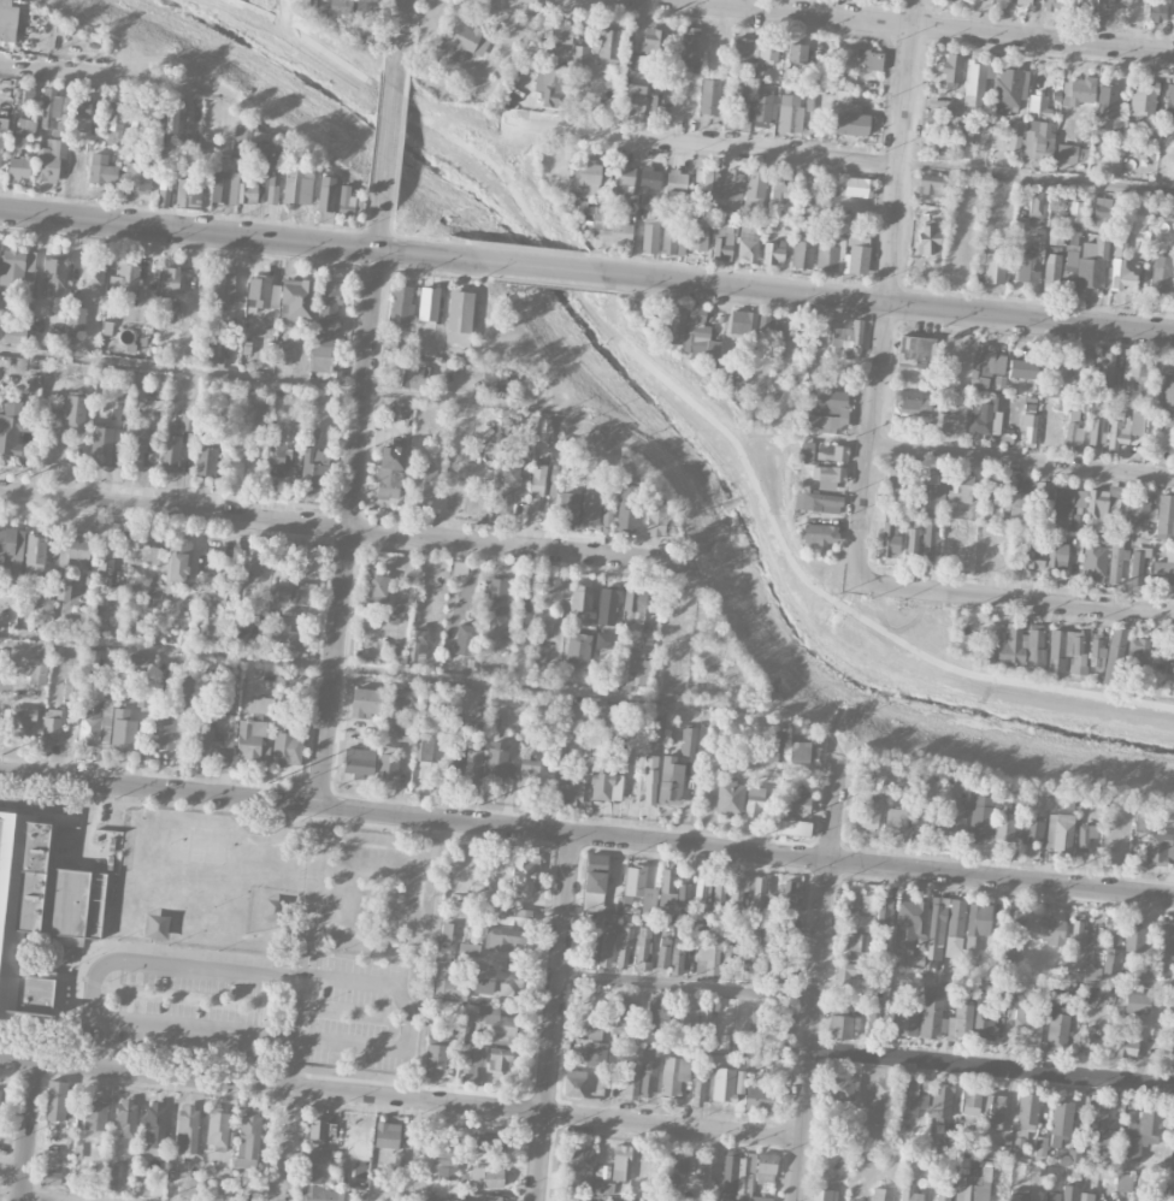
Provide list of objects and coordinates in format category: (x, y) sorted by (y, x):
building: (881, 0)
building: (985, 0)
building: (1025, 1)
building: (1052, 4)
building: (1078, 7)
building: (340, 8)
building: (1104, 8)
building: (1156, 10)
building: (365, 11)
building: (1173, 12)
building: (7, 19)
building: (525, 22)
road: (919, 29)
building: (561, 32)
road: (400, 34)
building: (651, 40)
building: (464, 42)
building: (607, 43)
building: (690, 43)
building: (742, 51)
building: (767, 51)
building: (580, 54)
building: (796, 60)
building: (868, 60)
building: (525, 65)
building: (951, 70)
road: (95, 75)
building: (548, 83)
building: (975, 83)
building: (661, 87)
building: (1008, 88)
building: (1080, 90)
building: (28, 96)
building: (709, 96)
building: (739, 97)
building: (1143, 97)
building: (633, 99)
building: (1169, 100)
building: (1107, 101)
building: (54, 103)
building: (1037, 103)
building: (661, 105)
building: (763, 110)
building: (790, 113)
building: (82, 114)
building: (152, 116)
building: (171, 116)
building: (850, 117)
building: (948, 117)
building: (25, 124)
building: (1113, 124)
building: (4, 125)
building: (120, 125)
building: (1149, 132)
road: (389, 136)
building: (1015, 136)
building: (205, 138)
building: (250, 142)
building: (1038, 143)
building: (962, 146)
building: (0, 147)
building: (1067, 154)
building: (49, 160)
road: (842, 160)
building: (18, 167)
building: (101, 170)
building: (273, 176)
building: (624, 176)
building: (650, 177)
building: (137, 179)
building: (584, 179)
building: (704, 179)
building: (297, 184)
building: (933, 184)
building: (730, 185)
building: (676, 187)
building: (780, 187)
building: (857, 187)
building: (165, 188)
building: (755, 188)
building: (232, 189)
building: (188, 193)
building: (326, 193)
building: (348, 202)
building: (1036, 209)
building: (1104, 209)
building: (1075, 212)
building: (610, 230)
building: (697, 233)
road: (231, 235)
building: (650, 236)
building: (1140, 236)
building: (672, 238)
building: (724, 239)
building: (748, 239)
building: (928, 239)
building: (802, 249)
building: (773, 253)
building: (842, 255)
building: (1092, 264)
building: (13, 265)
road: (530, 266)
building: (1027, 267)
building: (995, 268)
building: (1052, 268)
building: (1122, 268)
building: (1069, 270)
building: (93, 272)
building: (1161, 273)
building: (53, 277)
building: (169, 282)
building: (124, 283)
building: (223, 288)
building: (259, 291)
road: (886, 291)
building: (146, 296)
building: (296, 298)
road: (885, 306)
building: (329, 307)
building: (402, 307)
building: (427, 307)
building: (176, 308)
building: (149, 314)
building: (76, 316)
building: (459, 318)
building: (674, 324)
building: (747, 329)
building: (696, 330)
building: (802, 332)
building: (779, 338)
building: (845, 342)
building: (712, 347)
building: (390, 348)
building: (213, 351)
building: (406, 351)
building: (916, 351)
building: (284, 353)
building: (323, 357)
building: (1082, 362)
building: (985, 365)
building: (1021, 368)
building: (1055, 368)
building: (414, 372)
building: (1102, 372)
building: (796, 373)
building: (1135, 373)
road: (289, 380)
building: (494, 380)
building: (34, 386)
building: (1168, 396)
road: (684, 400)
building: (825, 400)
building: (912, 401)
building: (73, 410)
building: (987, 416)
building: (943, 420)
building: (826, 421)
building: (506, 426)
building: (1027, 427)
building: (1125, 427)
building: (12, 428)
building: (1073, 428)
building: (1097, 433)
building: (173, 440)
building: (105, 445)
building: (134, 446)
building: (822, 451)
building: (276, 452)
building: (205, 458)
road: (1022, 462)
building: (314, 466)
building: (389, 471)
building: (828, 477)
building: (893, 478)
building: (511, 485)
building: (423, 486)
building: (536, 489)
building: (961, 489)
building: (989, 490)
building: (928, 491)
building: (816, 502)
building: (591, 503)
building: (1066, 504)
road: (352, 505)
building: (1101, 505)
building: (568, 509)
building: (626, 509)
building: (1135, 510)
building: (1164, 516)
building: (606, 519)
building: (655, 519)
building: (1076, 519)
road: (346, 523)
building: (819, 533)
building: (1022, 534)
building: (890, 537)
building: (928, 538)
building: (912, 543)
building: (75, 546)
building: (1057, 552)
building: (144, 554)
building: (35, 555)
building: (1032, 556)
building: (1116, 560)
building: (249, 561)
building: (312, 561)
building: (1095, 561)
building: (105, 563)
building: (1137, 564)
building: (181, 566)
building: (1163, 570)
building: (377, 584)
building: (527, 588)
building: (63, 591)
building: (277, 592)
building: (305, 592)
building: (498, 596)
building: (153, 597)
building: (220, 598)
building: (582, 598)
building: (633, 598)
road: (1015, 599)
building: (523, 603)
building: (607, 607)
building: (135, 626)
building: (213, 631)
building: (288, 633)
building: (240, 638)
building: (465, 639)
building: (604, 640)
building: (417, 646)
building: (1020, 647)
building: (1058, 649)
building: (396, 651)
building: (578, 651)
building: (1096, 651)
building: (1137, 651)
building: (1114, 653)
building: (1076, 656)
building: (987, 657)
building: (1158, 657)
building: (1170, 657)
building: (134, 662)
building: (638, 668)
road: (389, 672)
building: (35, 673)
building: (71, 687)
building: (182, 693)
building: (401, 698)
building: (142, 702)
building: (365, 702)
building: (260, 706)
building: (604, 714)
building: (484, 718)
building: (90, 720)
building: (19, 722)
building: (52, 726)
building: (163, 729)
building: (123, 730)
building: (620, 734)
building: (688, 740)
building: (253, 741)
building: (213, 743)
building: (424, 746)
building: (775, 747)
building: (288, 749)
building: (798, 750)
building: (500, 761)
building: (649, 761)
building: (358, 762)
building: (456, 762)
building: (387, 765)
building: (472, 765)
building: (529, 773)
building: (669, 780)
building: (604, 785)
power tower: (269, 786)
building: (568, 793)
building: (730, 798)
building: (754, 801)
power tower: (478, 807)
building: (869, 814)
building: (925, 814)
building: (794, 815)
building: (951, 816)
building: (980, 816)
building: (895, 818)
building: (1004, 827)
building: (1032, 830)
building: (1060, 832)
road: (586, 833)
building: (1087, 836)
power tower: (779, 839)
building: (1154, 839)
building: (596, 860)
power tower: (1069, 870)
building: (524, 875)
building: (667, 887)
building: (639, 888)
building: (594, 891)
building: (700, 891)
building: (738, 891)
building: (719, 892)
building: (790, 893)
building: (683, 895)
building: (756, 900)
building: (37, 907)
building: (884, 910)
building: (867, 911)
building: (512, 916)
building: (978, 919)
building: (937, 921)
building: (1013, 921)
building: (909, 923)
building: (955, 923)
building: (789, 924)
building: (1051, 930)
building: (1078, 931)
building: (506, 939)
building: (1134, 939)
building: (590, 940)
building: (855, 942)
building: (625, 943)
building: (768, 943)
building: (1166, 945)
building: (606, 946)
building: (1110, 947)
building: (468, 948)
building: (643, 948)
building: (662, 952)
building: (677, 956)
building: (855, 957)
building: (708, 958)
building: (731, 960)
building: (775, 970)
building: (848, 971)
building: (1092, 975)
road: (815, 977)
building: (1138, 977)
building: (496, 982)
road: (686, 987)
building: (450, 989)
building: (1074, 995)
building: (1138, 1002)
parking lot: (255, 1006)
building: (651, 1013)
building: (623, 1014)
building: (689, 1014)
road: (555, 1016)
building: (708, 1016)
building: (780, 1017)
road: (297, 1018)
building: (943, 1018)
building: (873, 1020)
building: (905, 1022)
building: (984, 1023)
building: (497, 1024)
building: (757, 1025)
building: (842, 1025)
building: (1027, 1028)
building: (1056, 1028)
road: (211, 1030)
building: (1125, 1043)
building: (595, 1047)
road: (18, 1055)
building: (436, 1055)
building: (498, 1058)
building: (466, 1063)
road: (991, 1066)
road: (164, 1071)
building: (673, 1075)
building: (631, 1081)
building: (647, 1081)
building: (573, 1083)
building: (698, 1083)
building: (722, 1084)
building: (840, 1088)
road: (355, 1090)
building: (1, 1094)
building: (881, 1094)
building: (55, 1100)
building: (759, 1100)
building: (909, 1100)
building: (942, 1100)
road: (482, 1104)
building: (973, 1104)
building: (1028, 1110)
building: (993, 1112)
building: (95, 1114)
building: (1097, 1116)
building: (123, 1118)
building: (1060, 1123)
building: (154, 1124)
road: (672, 1124)
road: (29, 1129)
building: (219, 1129)
building: (317, 1129)
building: (184, 1132)
building: (1140, 1134)
building: (54, 1135)
building: (387, 1135)
building: (248, 1137)
building: (486, 1140)
road: (285, 1142)
building: (950, 1144)
building: (1019, 1146)
building: (1040, 1148)
building: (319, 1154)
building: (1073, 1156)
building: (443, 1159)
building: (643, 1159)
building: (580, 1162)
building: (621, 1162)
building: (677, 1166)
building: (708, 1166)
building: (1031, 1171)
building: (111, 1175)
building: (312, 1175)
building: (753, 1175)
building: (727, 1176)
building: (52, 1177)
building: (491, 1177)
building: (1123, 1182)
building: (973, 1187)
building: (603, 1188)
building: (1170, 1190)
building: (908, 1193)
building: (1068, 1193)
building: (821, 1194)
building: (880, 1194)
road: (52, 1195)
building: (320, 1195)
building: (1019, 1195)
building: (942, 1196)
building: (1050, 1196)
building: (1084, 1196)
building: (485, 1197)
building: (1143, 1197)
building: (441, 1199)

